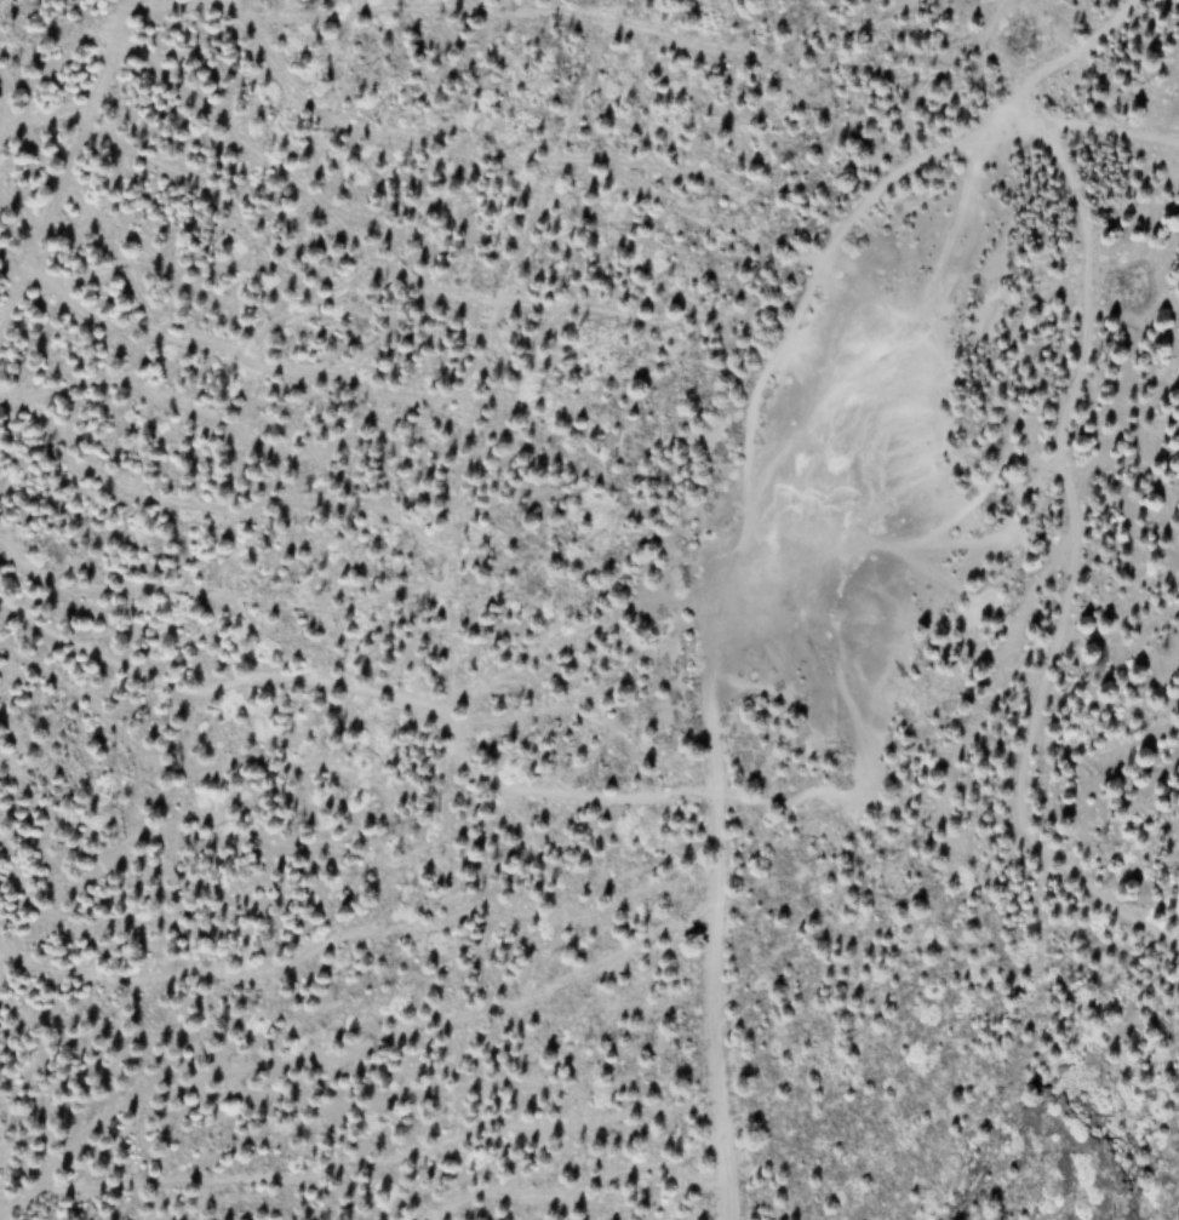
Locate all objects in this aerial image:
road: (1109, 23)
quarry: (849, 464)
road: (719, 561)

